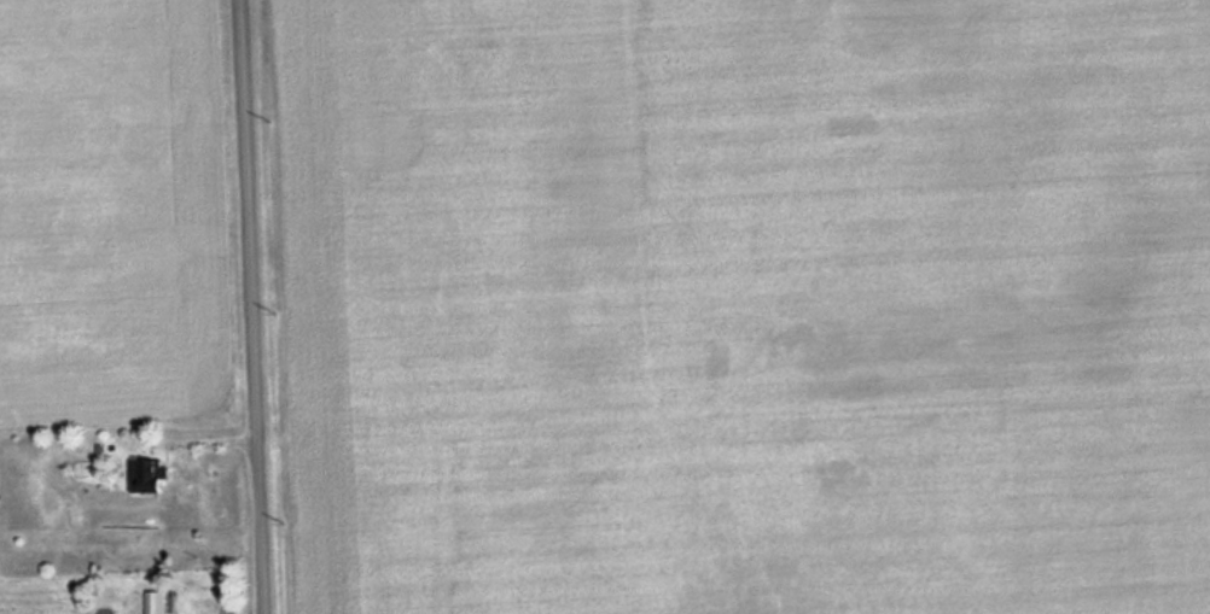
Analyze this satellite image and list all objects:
road: (248, 306)
building: (150, 475)
building: (158, 602)

